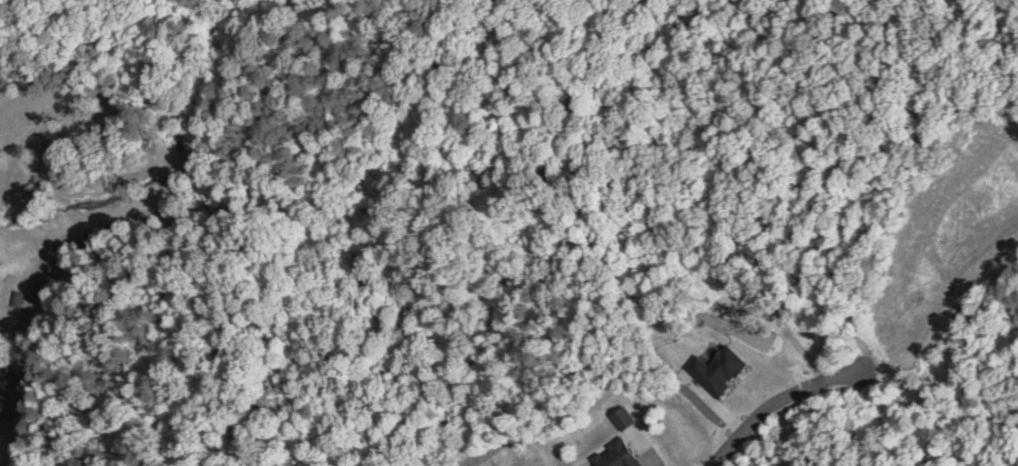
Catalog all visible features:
road: (945, 289)
road: (773, 399)
building: (615, 455)

